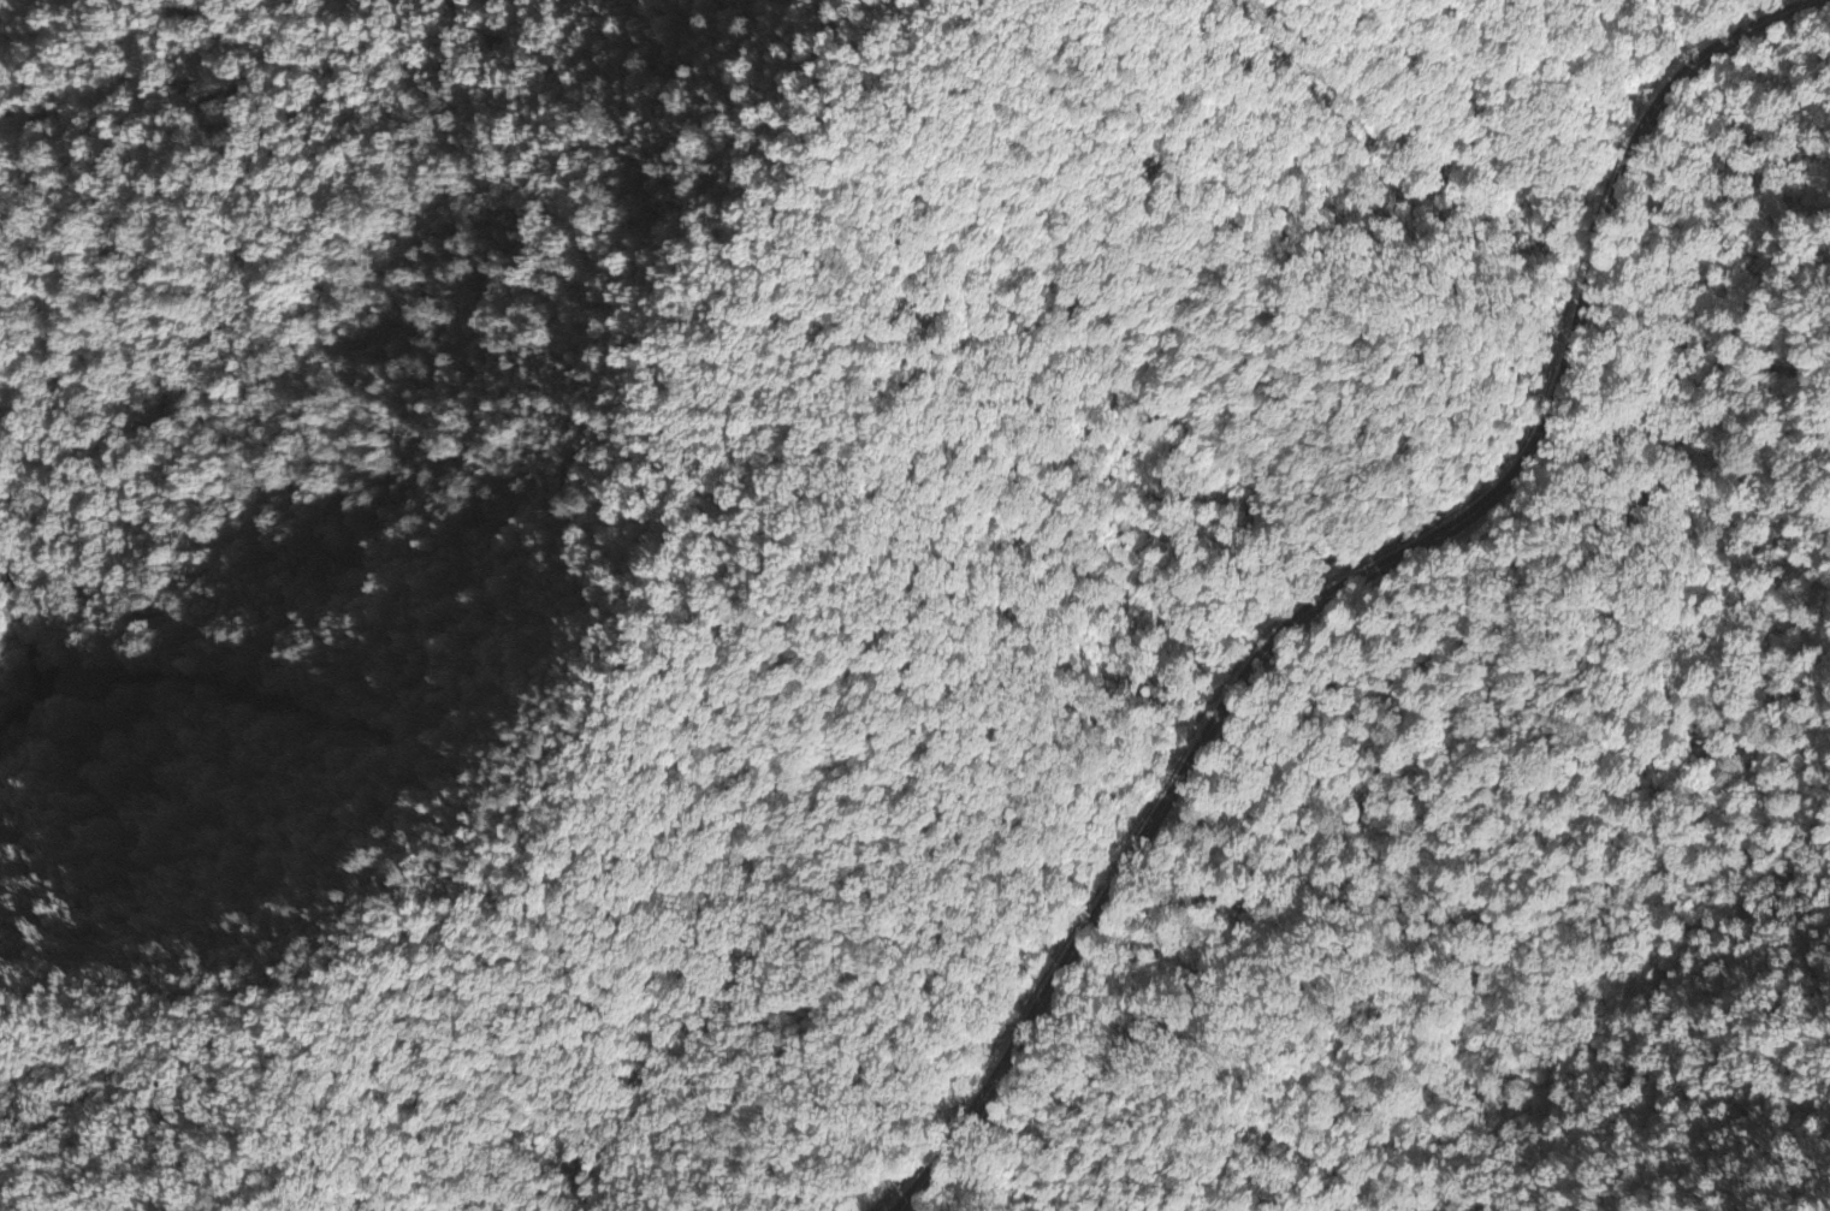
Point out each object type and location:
road: (1352, 582)
road: (1137, 1046)
road: (1271, 1127)

